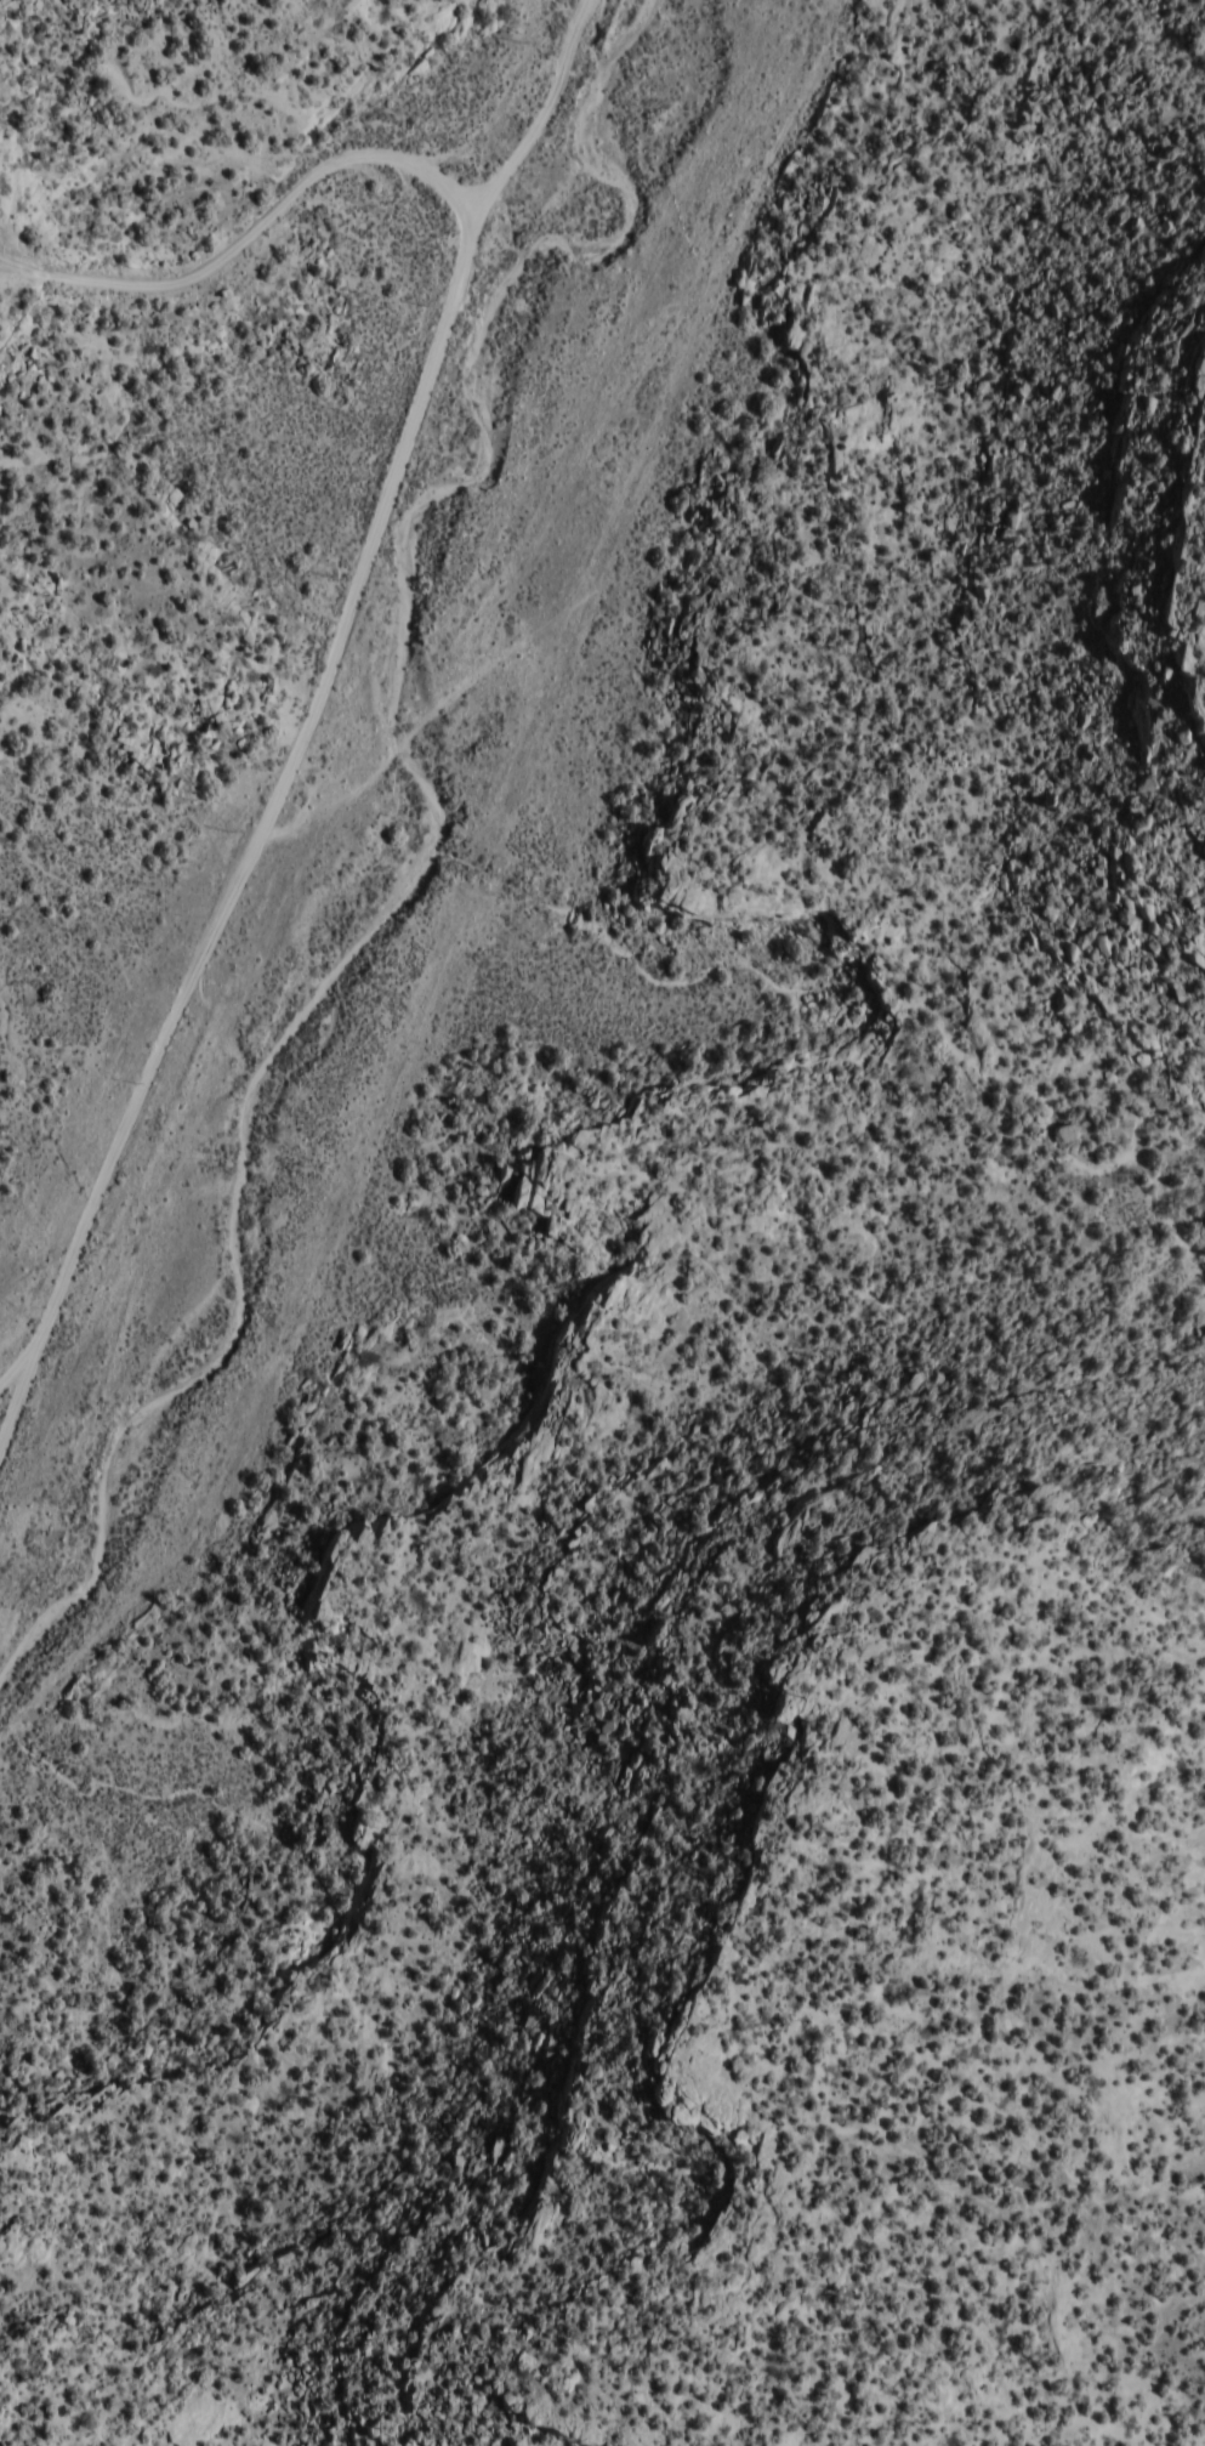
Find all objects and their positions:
road: (267, 237)
road: (294, 714)

